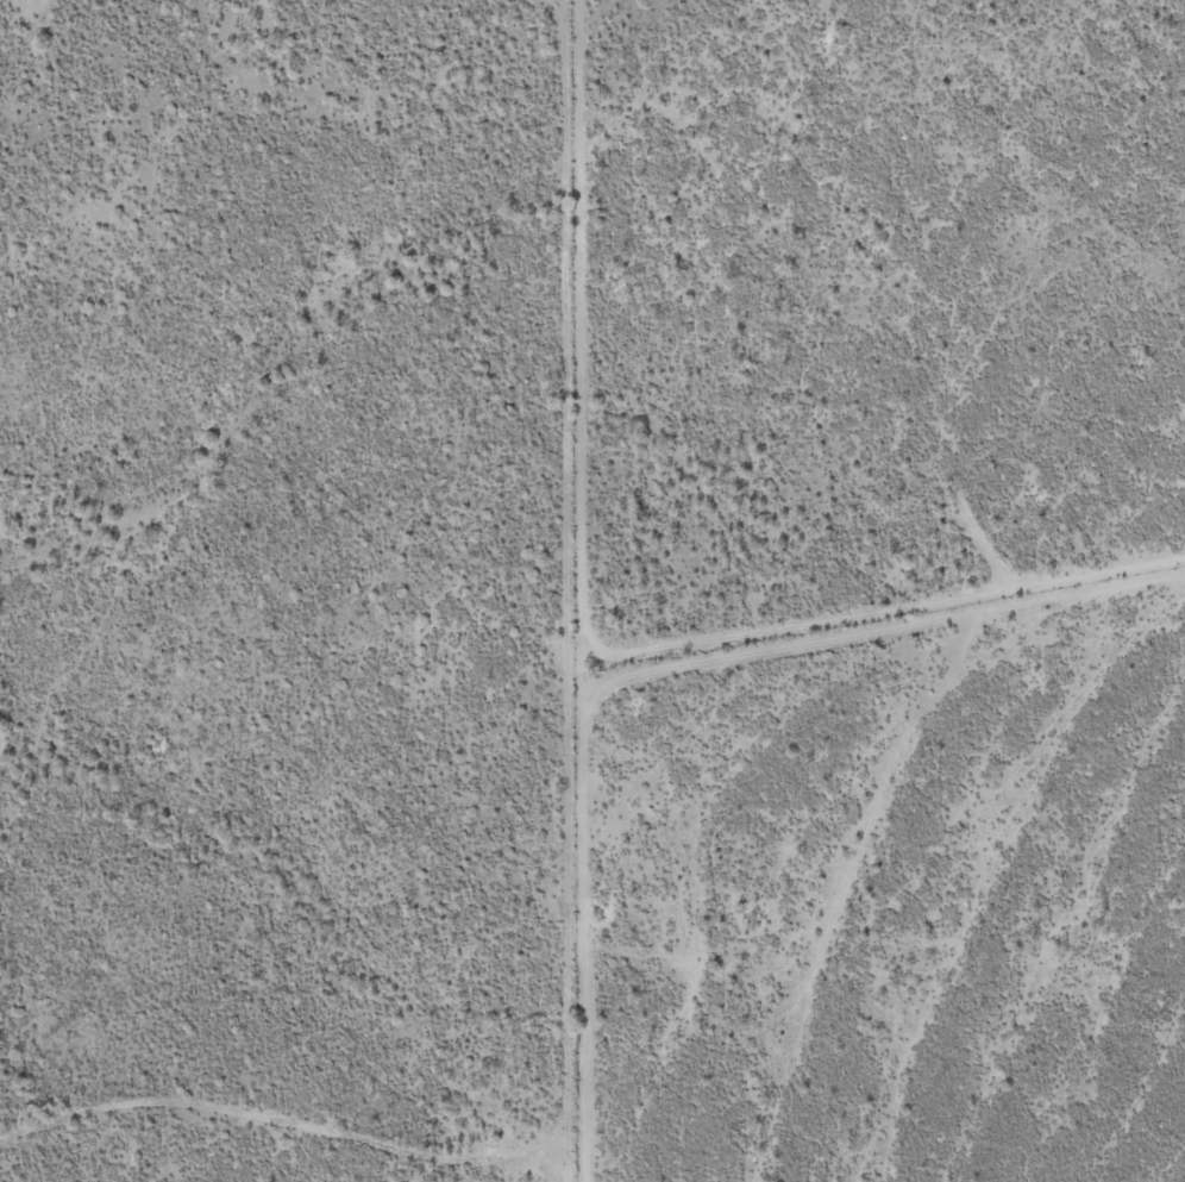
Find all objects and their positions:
road: (576, 858)

